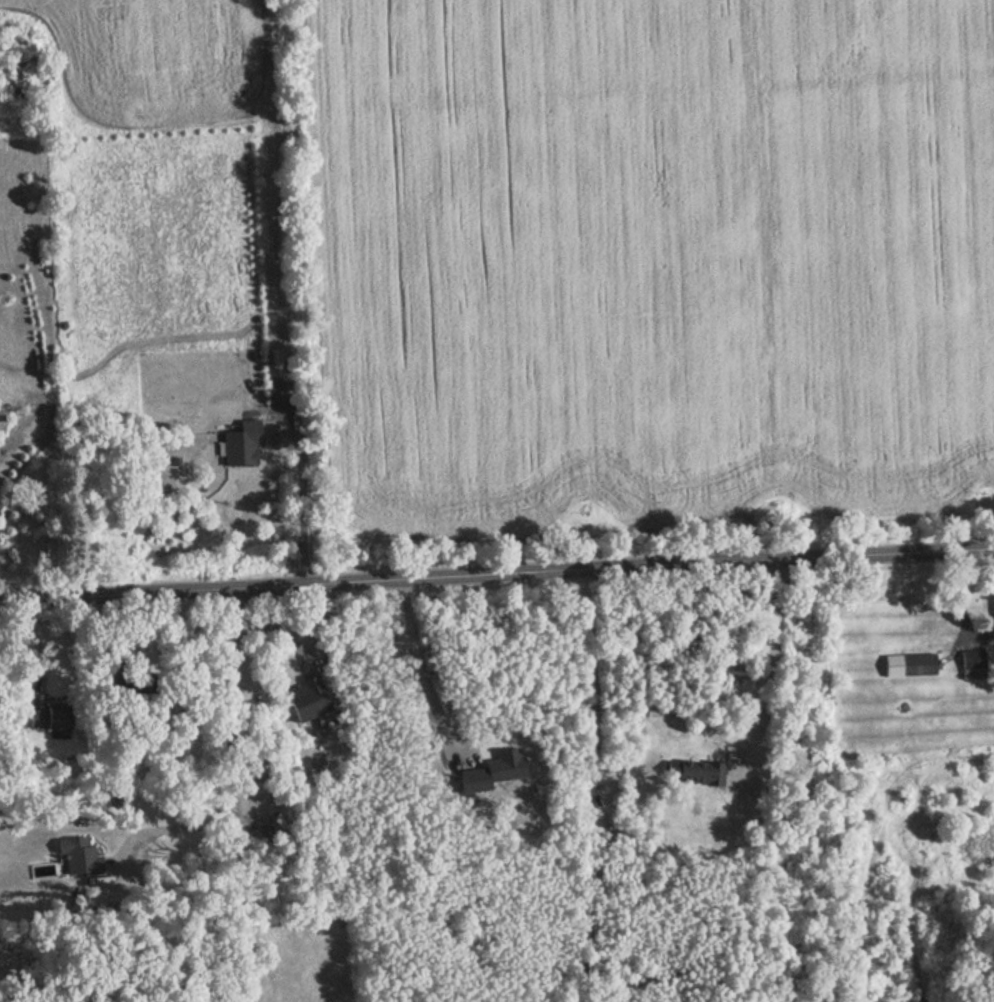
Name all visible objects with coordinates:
road: (497, 578)
road: (38, 649)
building: (916, 662)
building: (972, 663)
road: (771, 666)
road: (430, 679)
building: (306, 698)
building: (691, 772)
road: (228, 798)
road: (169, 842)

